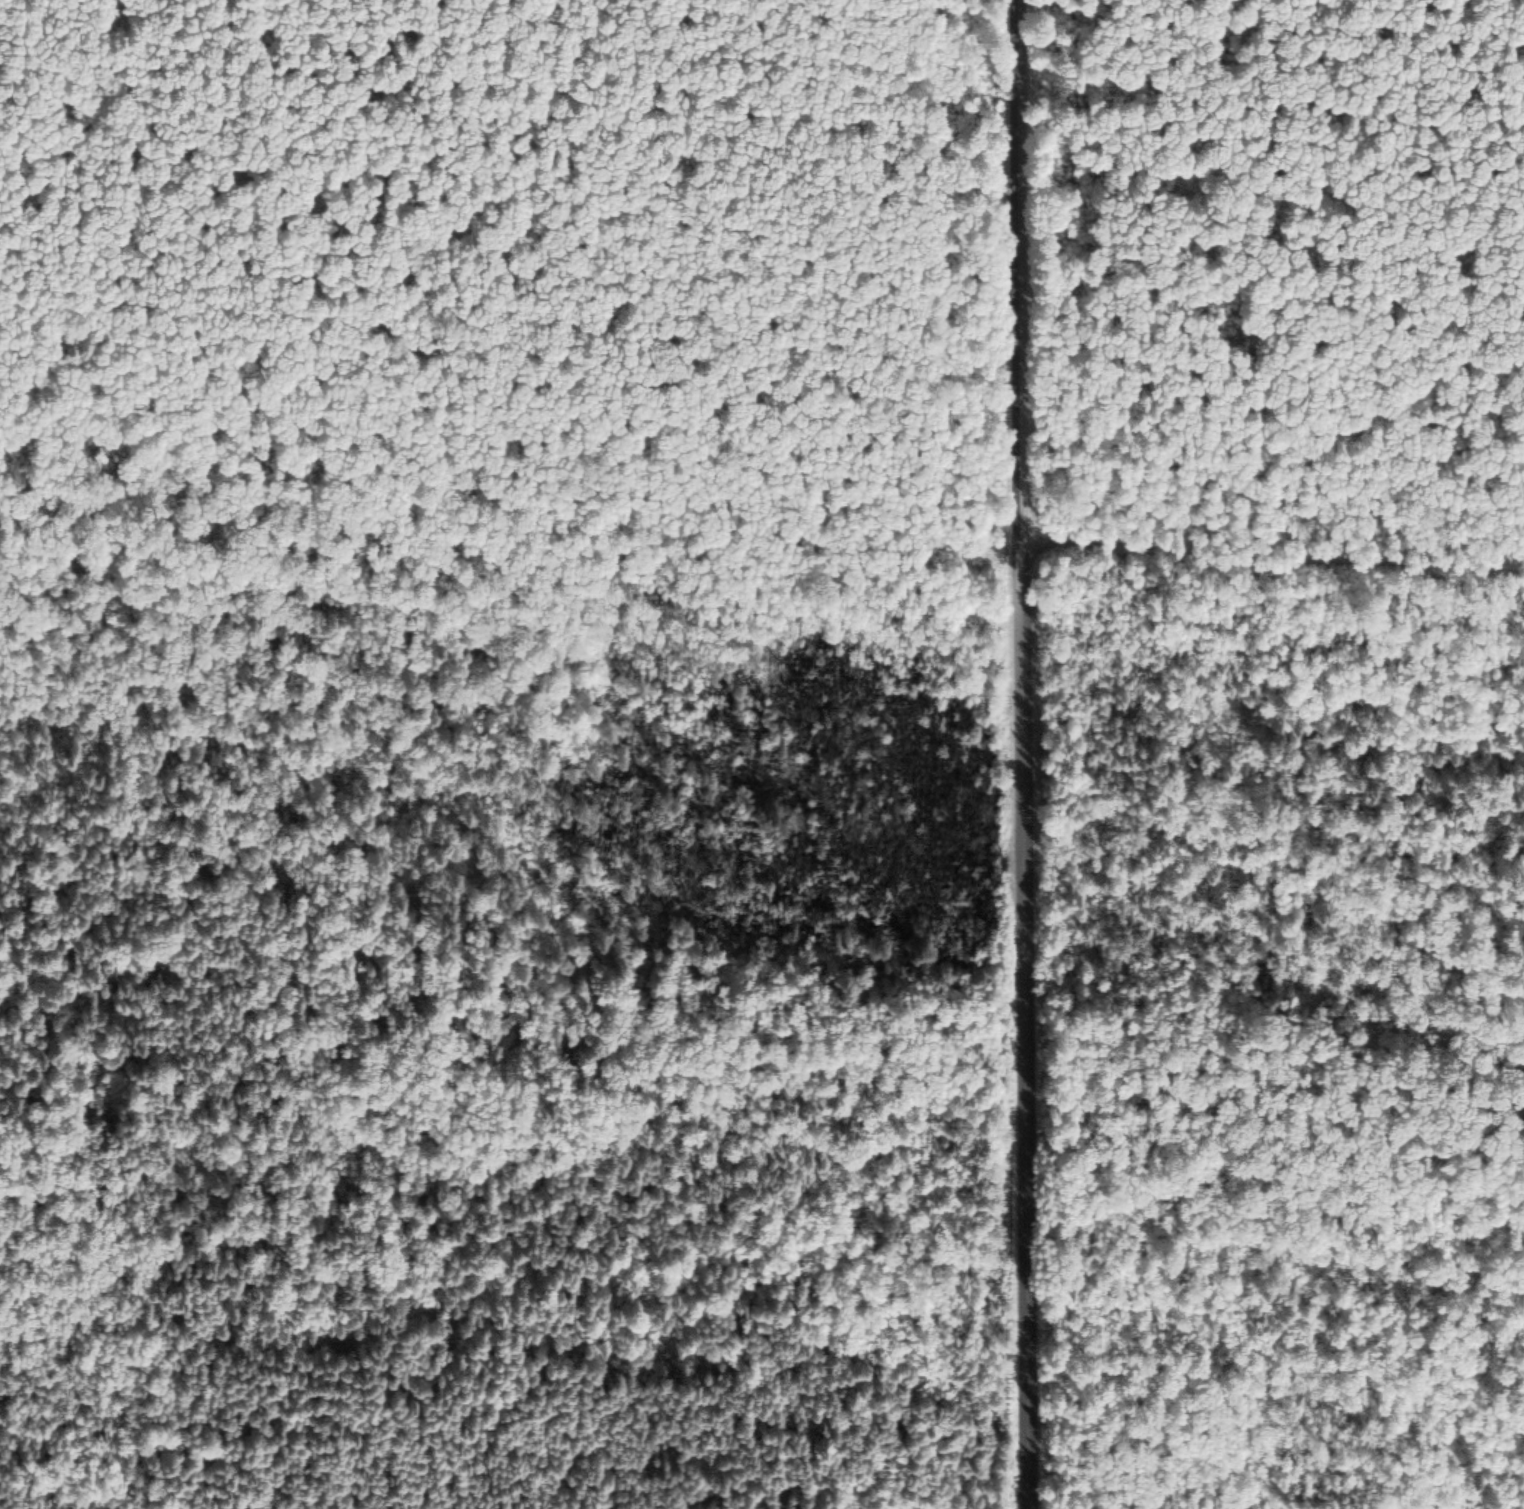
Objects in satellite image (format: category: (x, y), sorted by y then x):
road: (506, 230)
road: (1277, 546)
road: (1032, 754)

